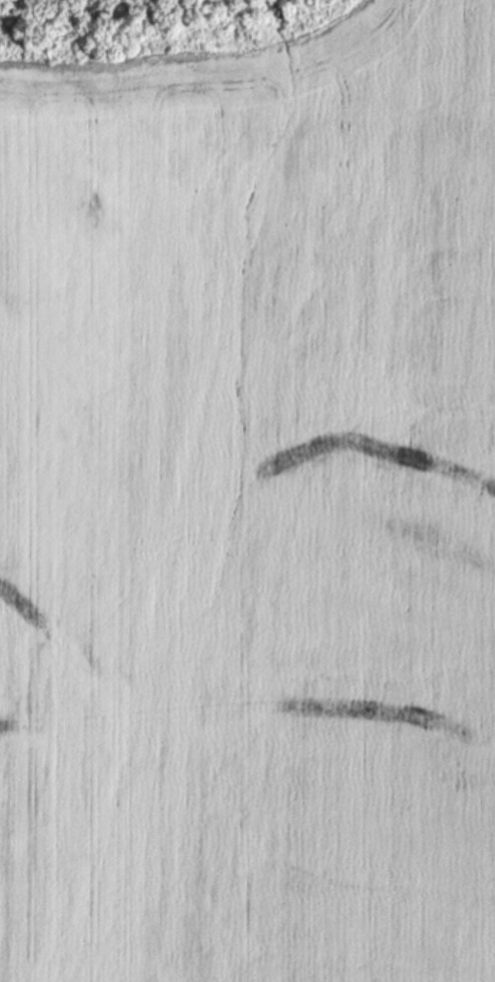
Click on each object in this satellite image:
crop: (249, 500)

